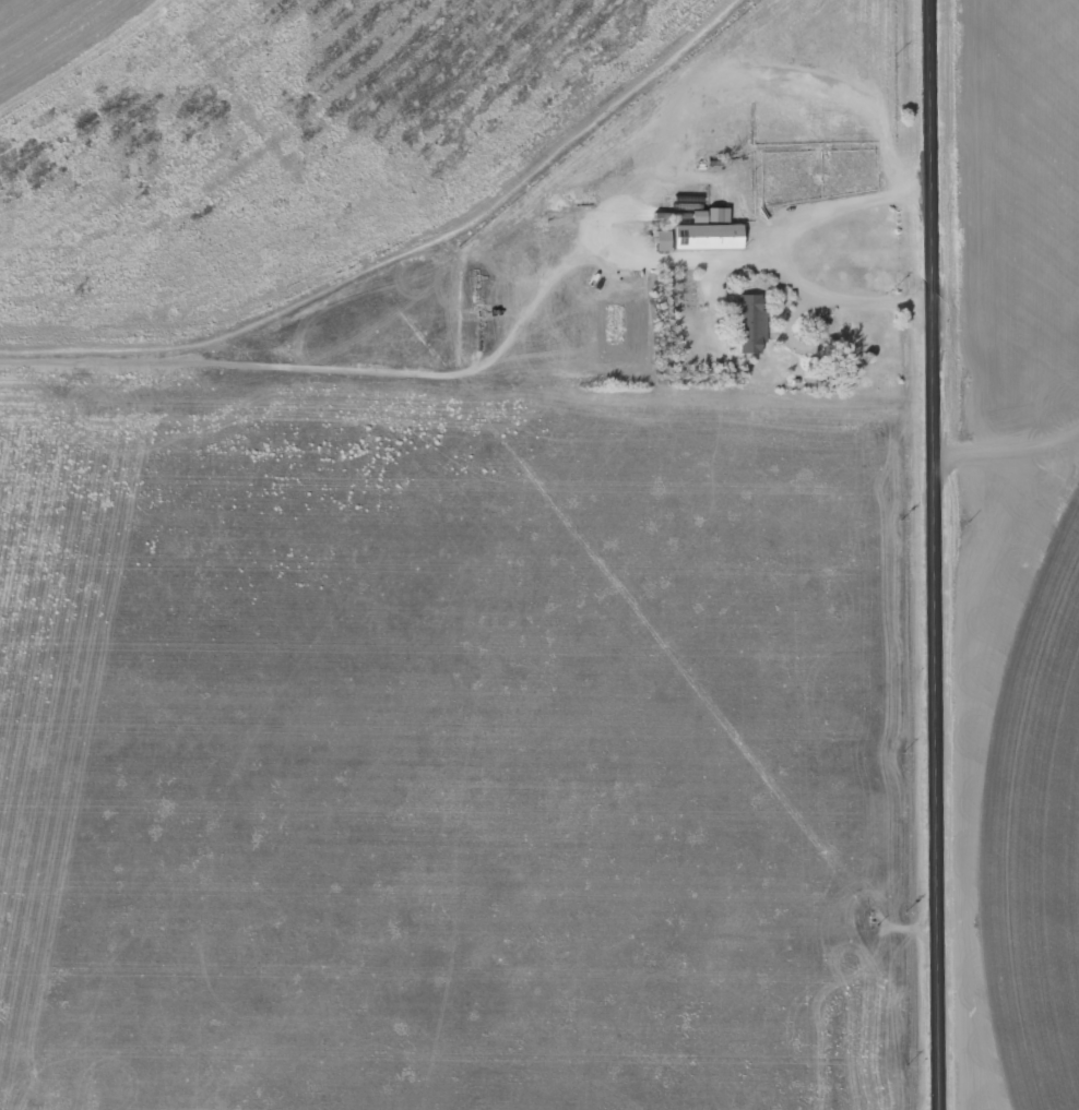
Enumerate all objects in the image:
building: (754, 324)
road: (936, 554)

